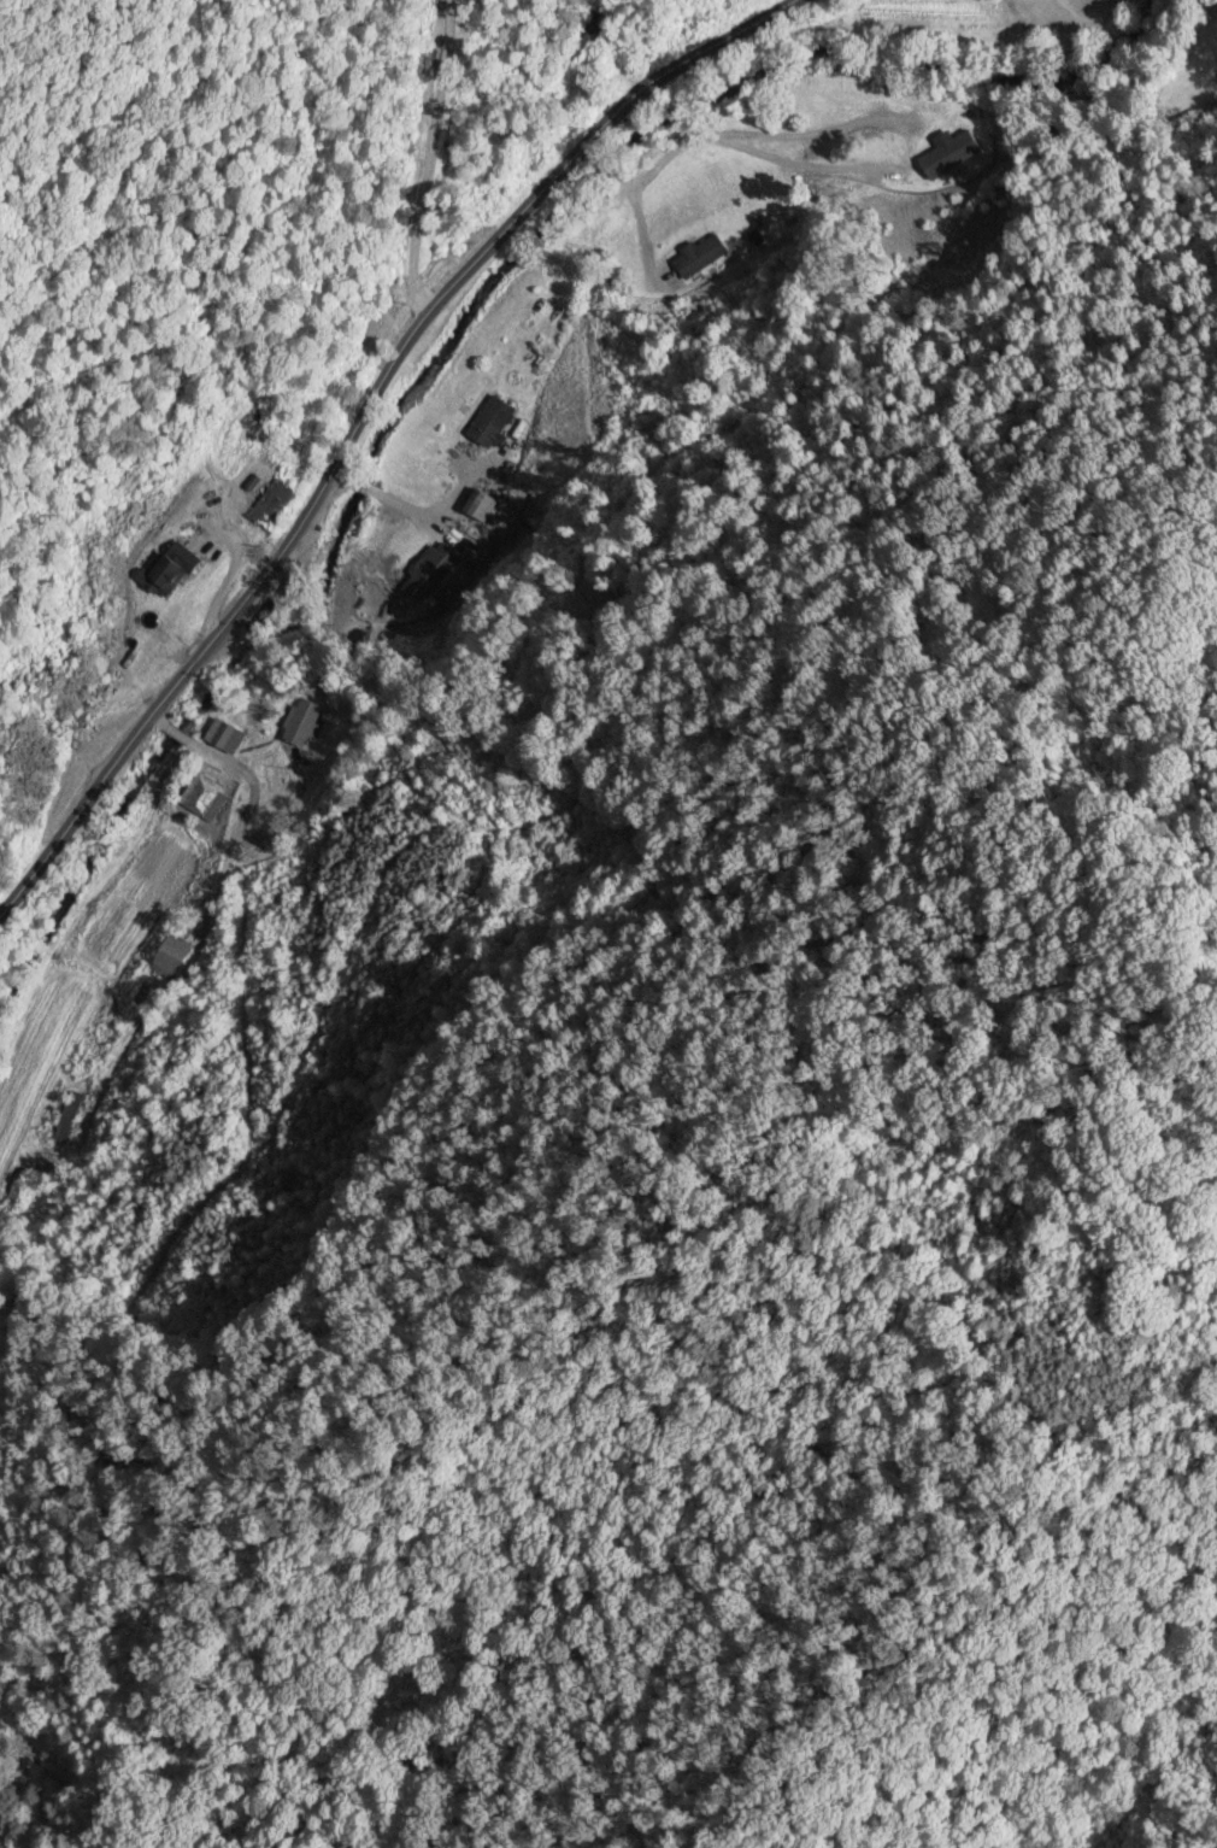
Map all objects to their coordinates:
road: (359, 465)

